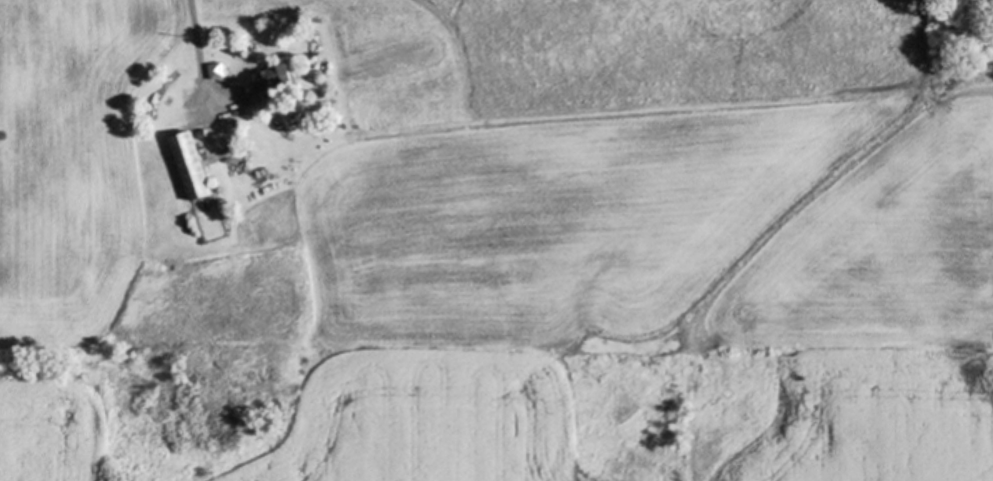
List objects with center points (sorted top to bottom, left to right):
road: (202, 51)
building: (214, 73)
building: (262, 87)
building: (189, 169)

